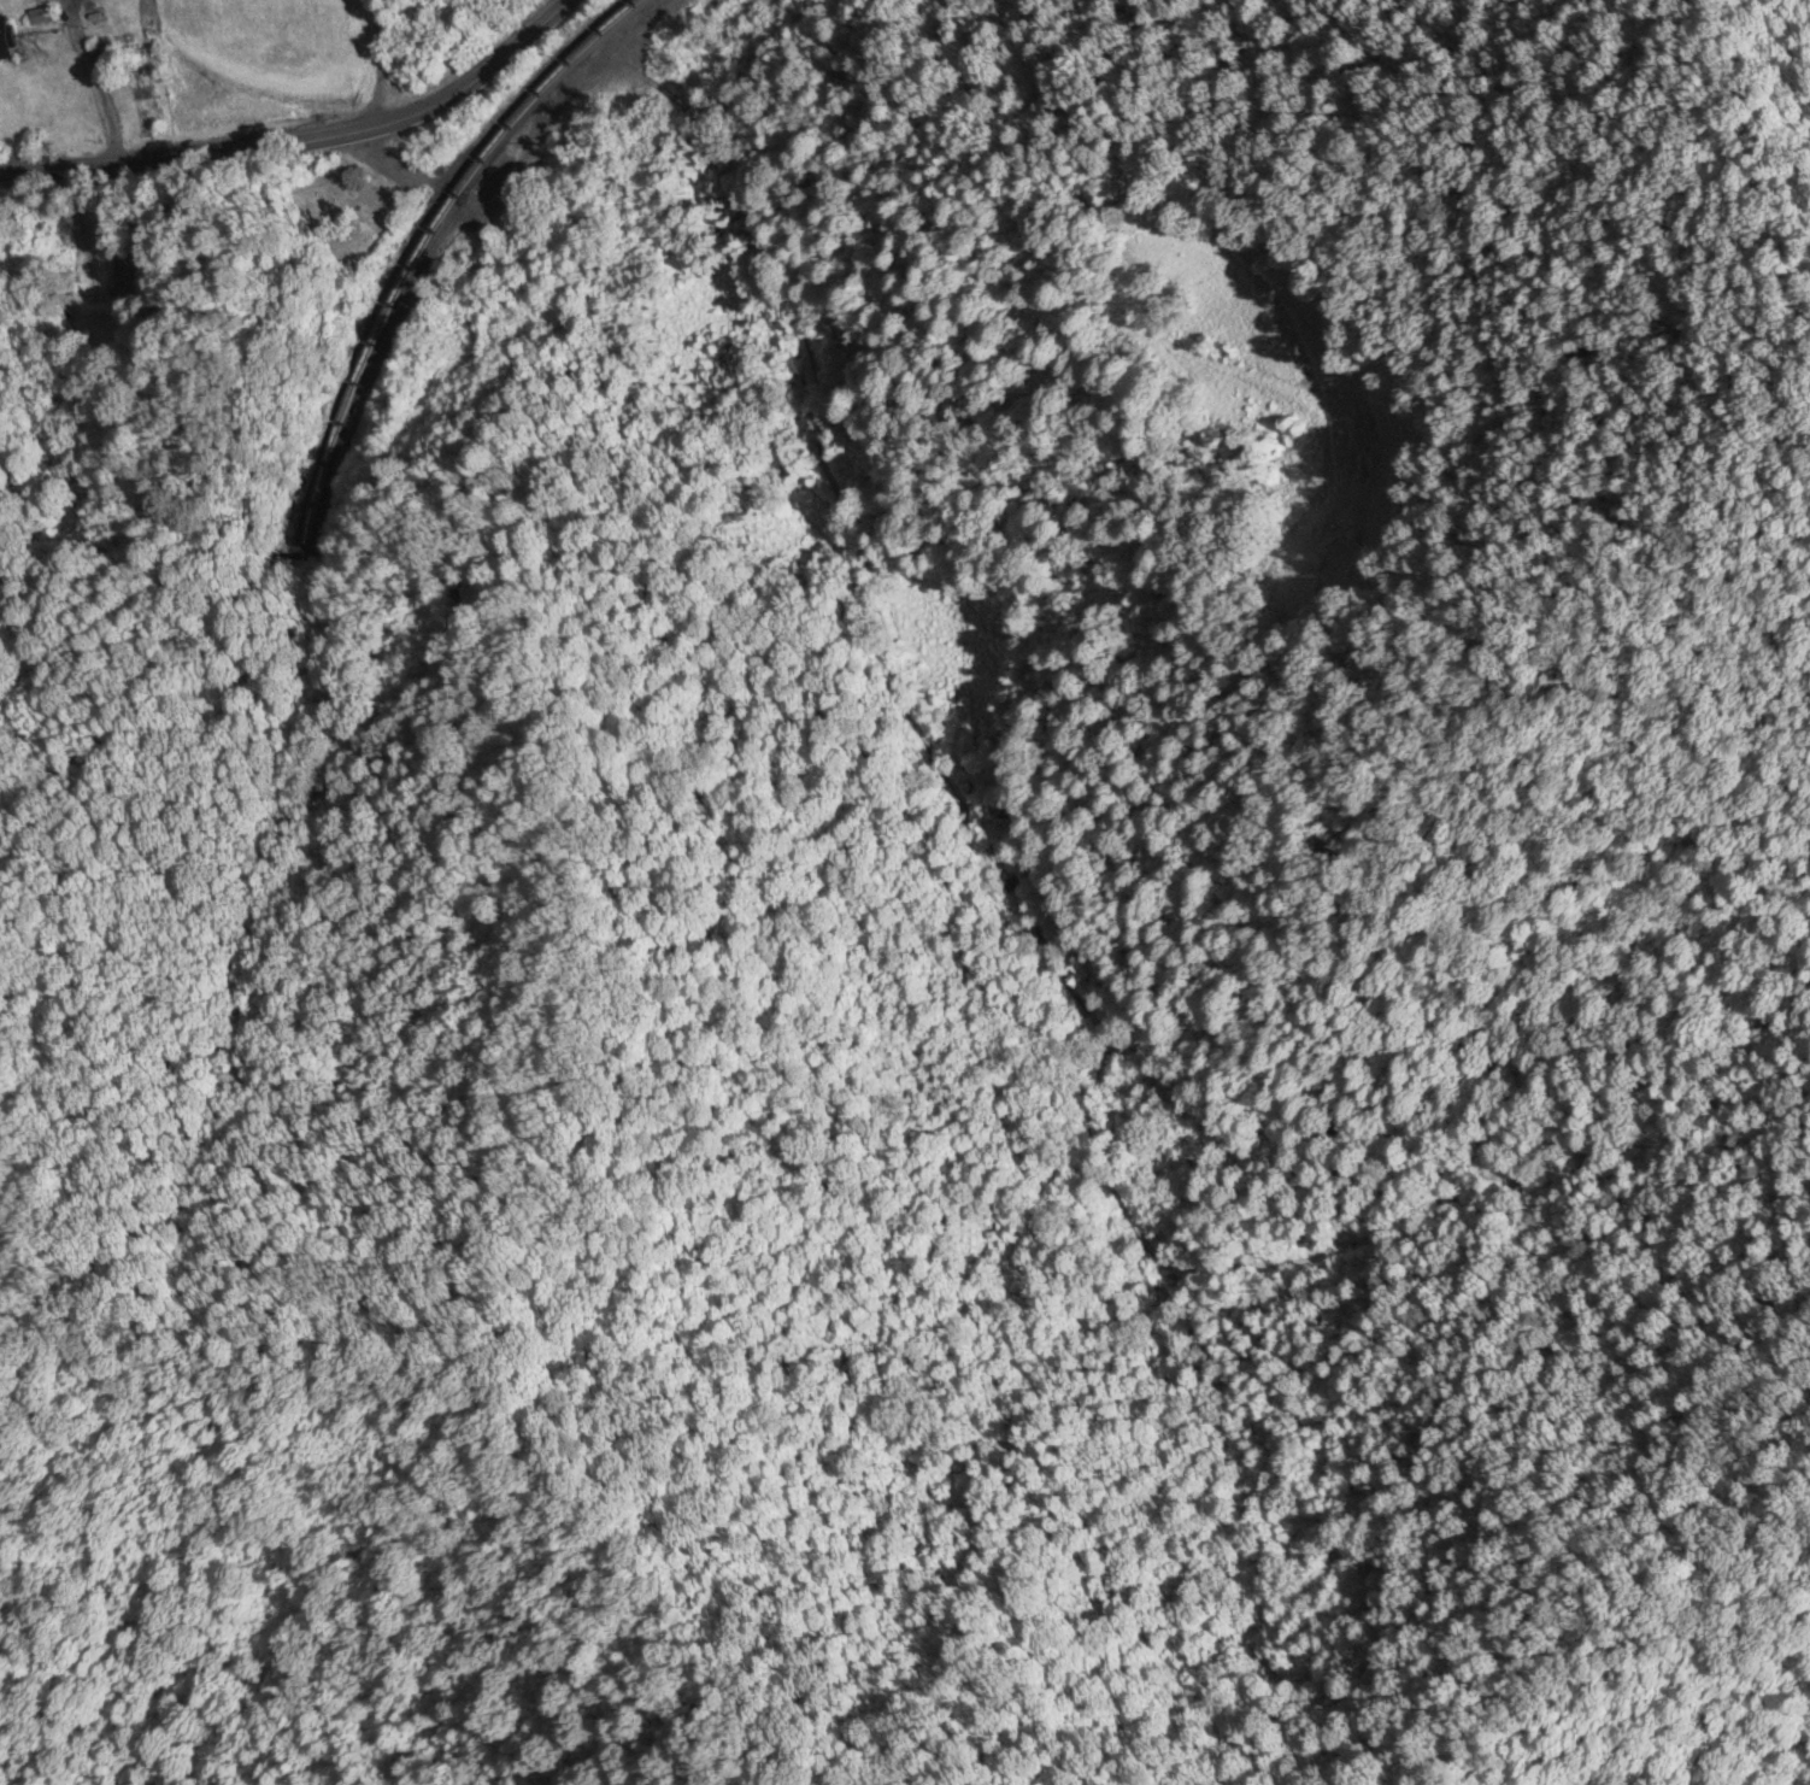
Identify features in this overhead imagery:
building: (5, 41)
road: (81, 86)
road: (306, 145)
road: (588, 153)
building: (117, 283)
road: (847, 540)
railway: (304, 585)

